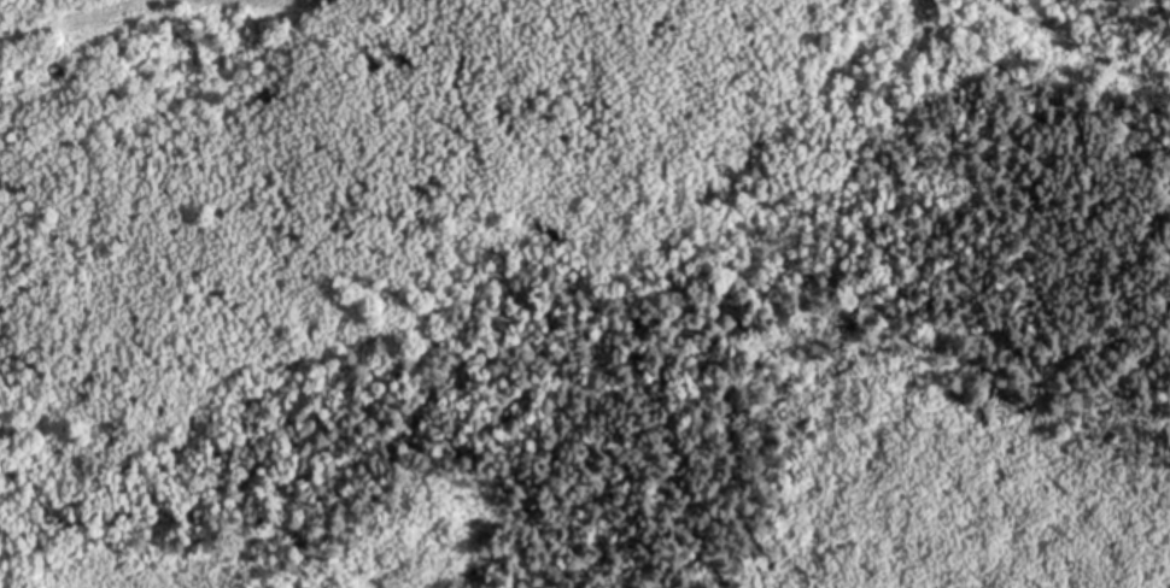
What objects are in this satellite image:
road: (76, 20)
road: (1074, 51)

